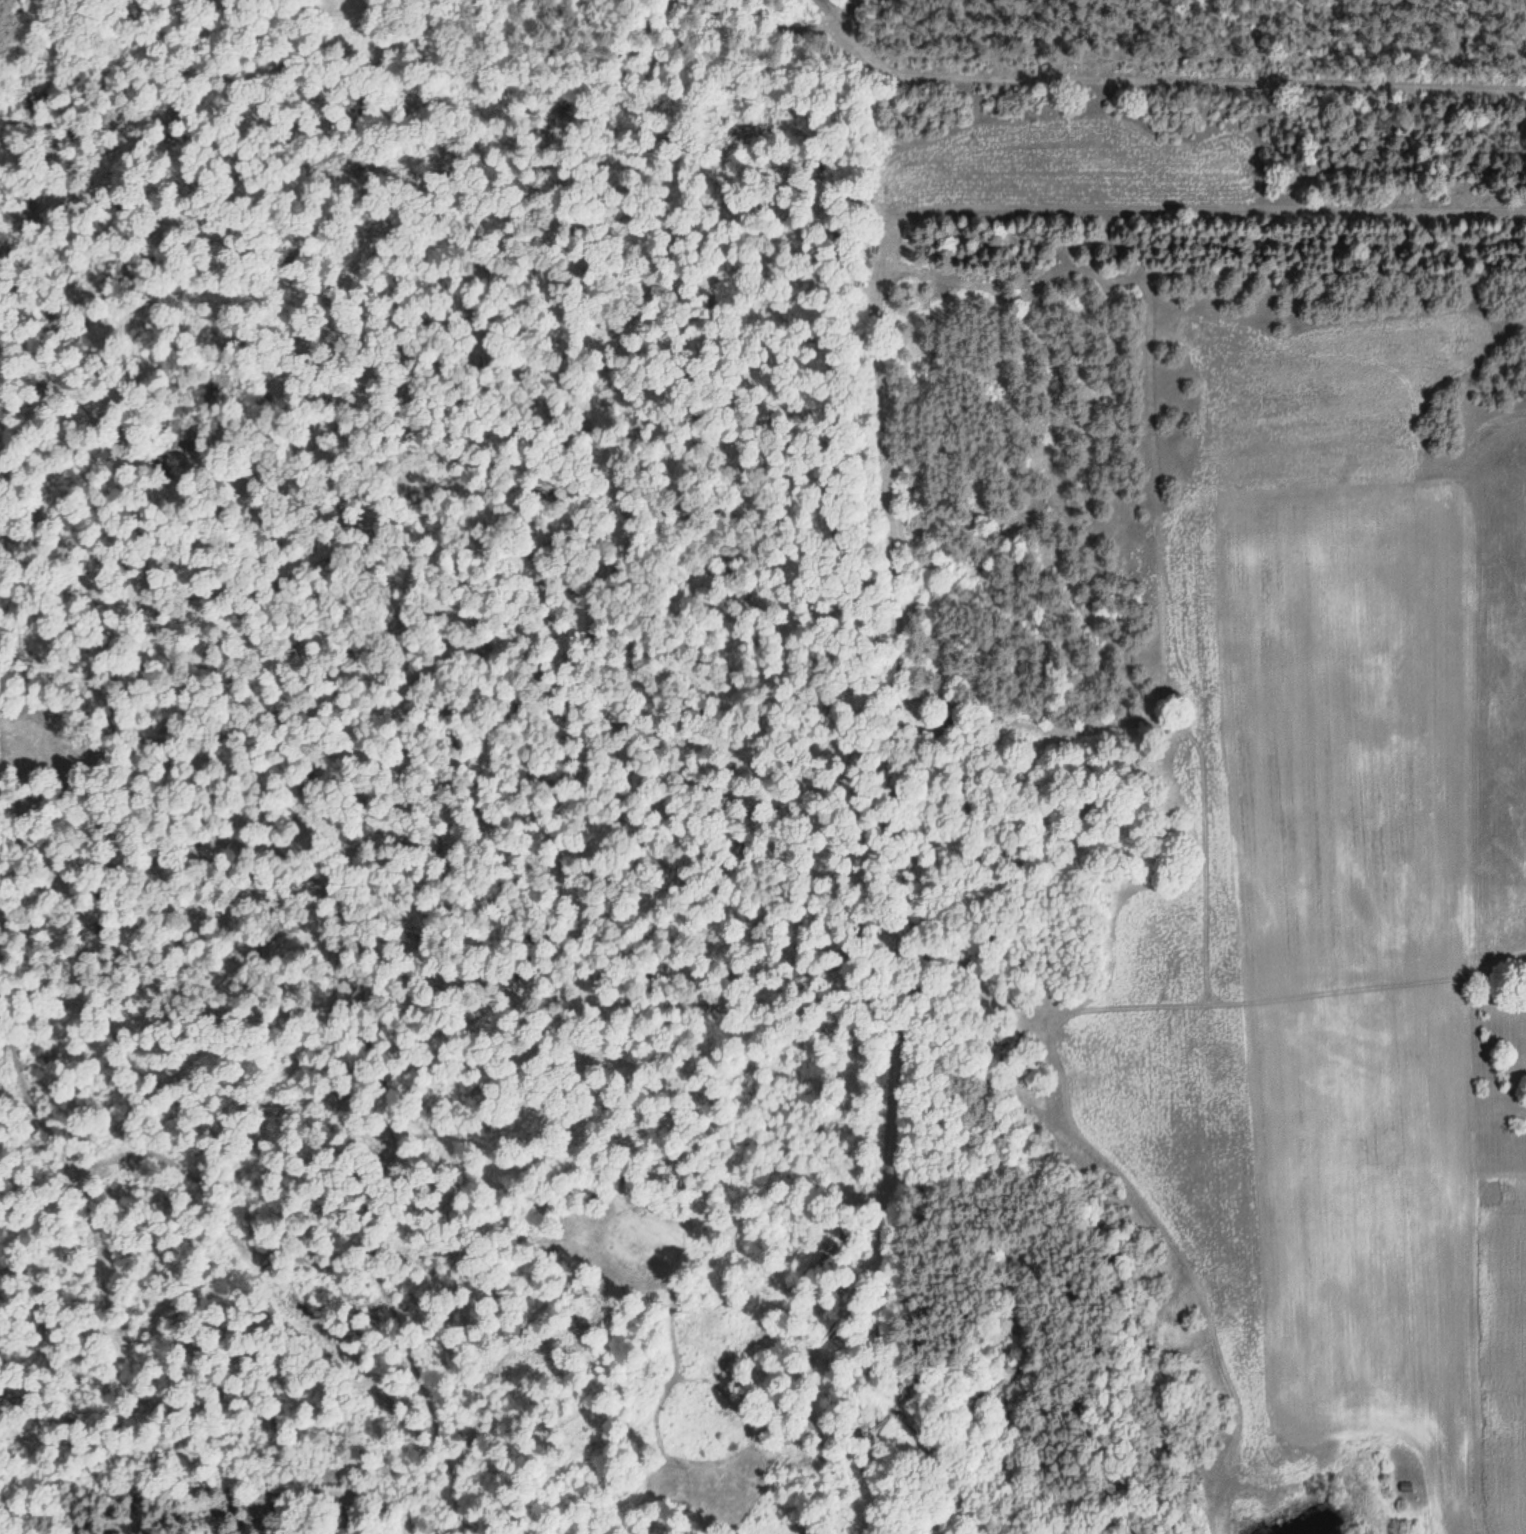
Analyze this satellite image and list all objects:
building: (1406, 1491)

